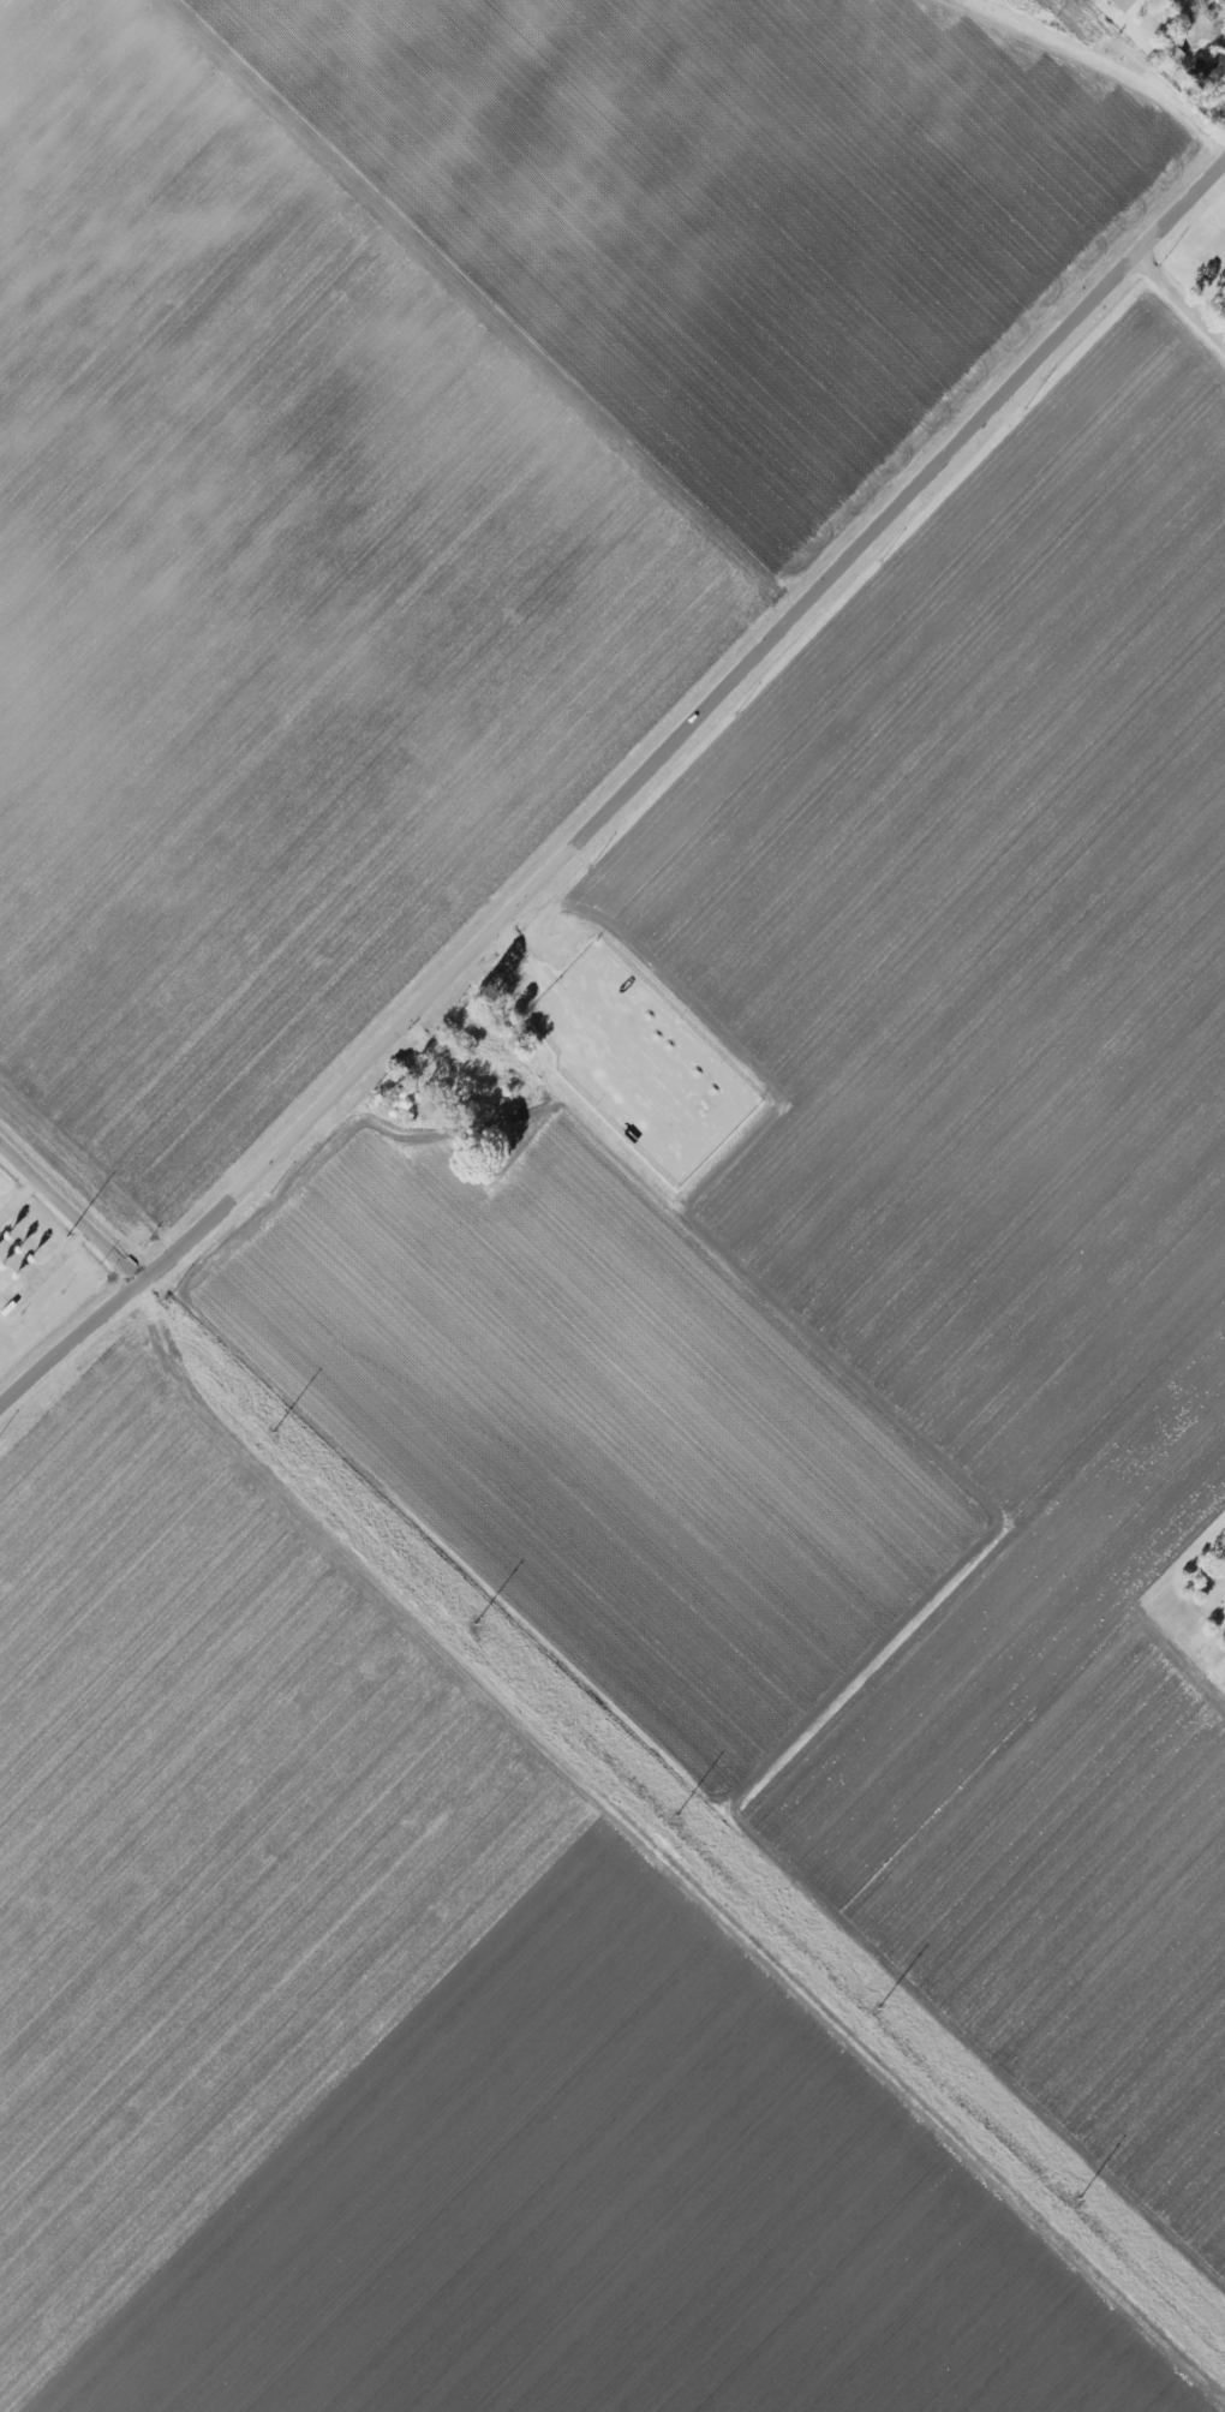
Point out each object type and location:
building: (1122, 4)
building: (1173, 53)
road: (1106, 65)
building: (1205, 68)
road: (1185, 285)
road: (623, 794)
road: (18, 1195)
road: (66, 1210)
road: (46, 1268)
building: (2, 1294)

